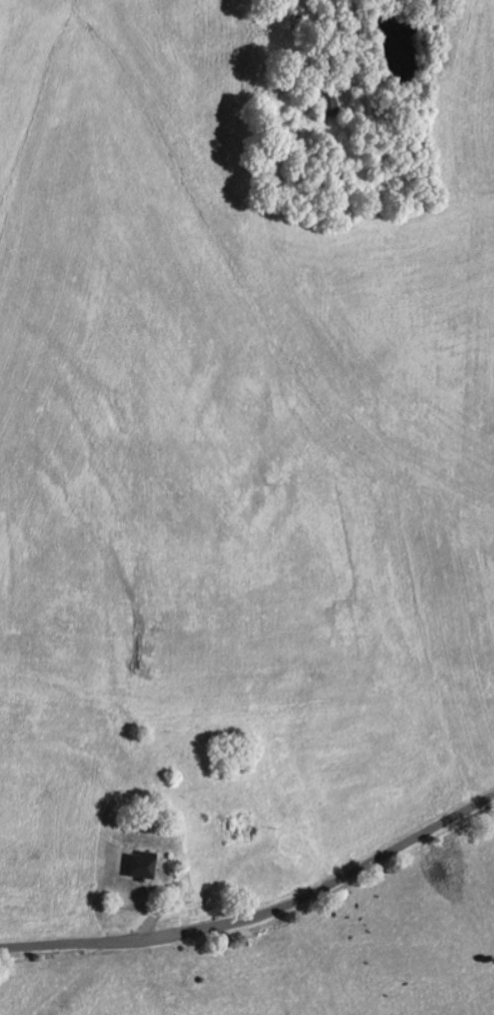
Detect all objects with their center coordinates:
building: (145, 867)
road: (259, 918)

